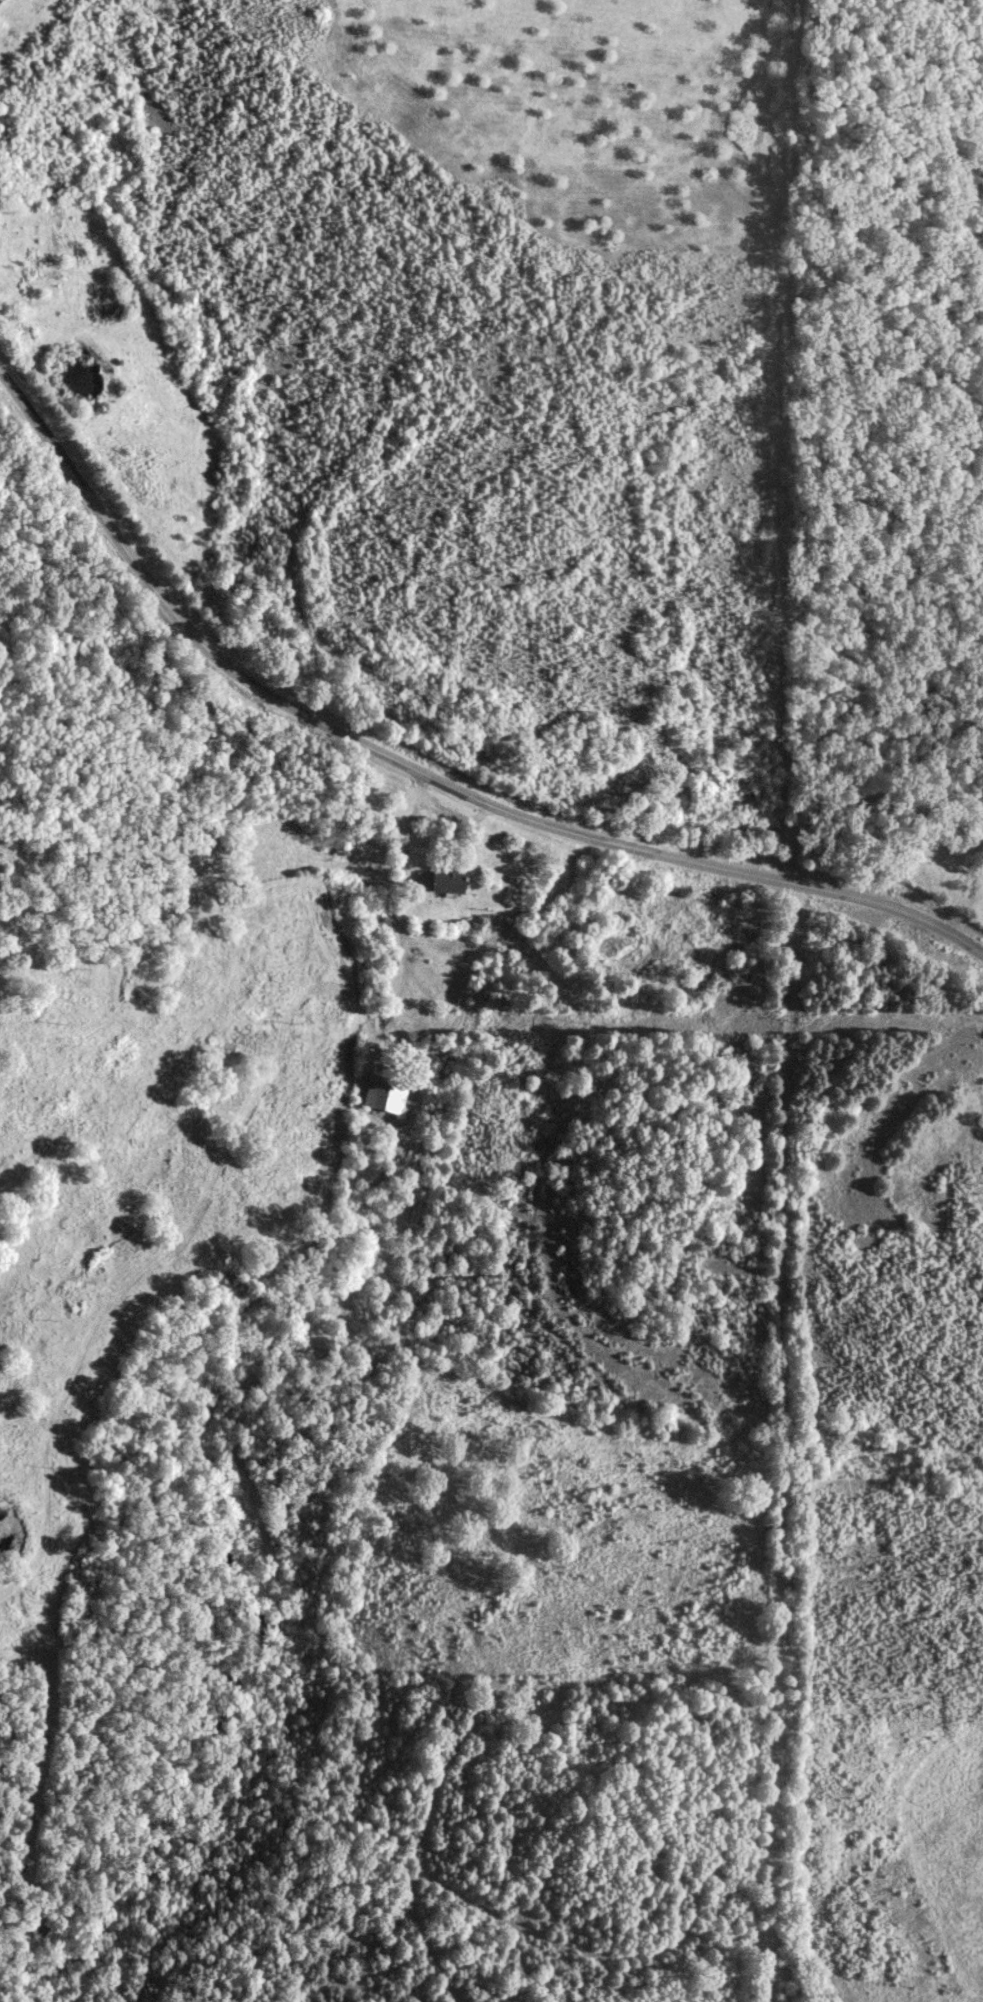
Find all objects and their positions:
road: (448, 797)
building: (438, 882)
building: (380, 1098)

